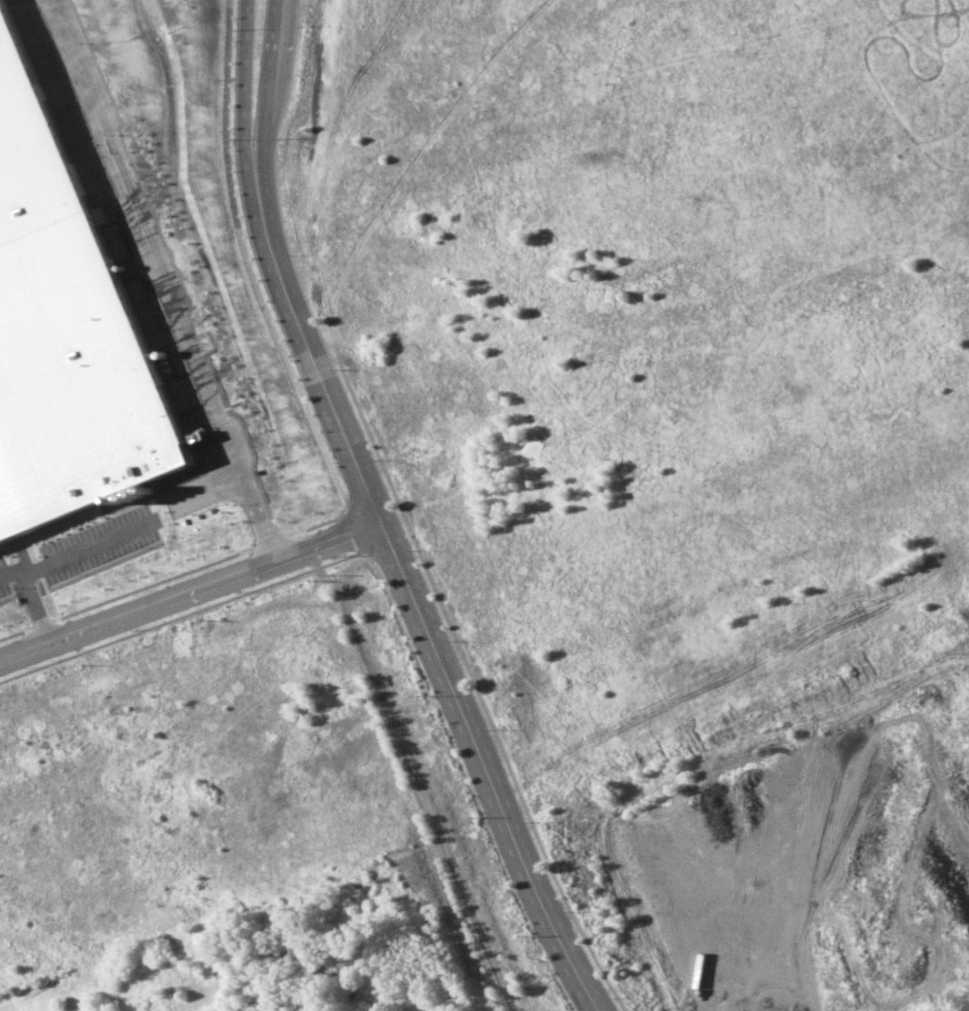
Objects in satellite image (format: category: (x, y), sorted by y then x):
road: (283, 81)
road: (263, 182)
road: (246, 186)
road: (252, 281)
road: (143, 282)
building: (63, 343)
road: (347, 441)
building: (307, 471)
road: (49, 565)
road: (9, 581)
road: (191, 591)
road: (484, 770)

